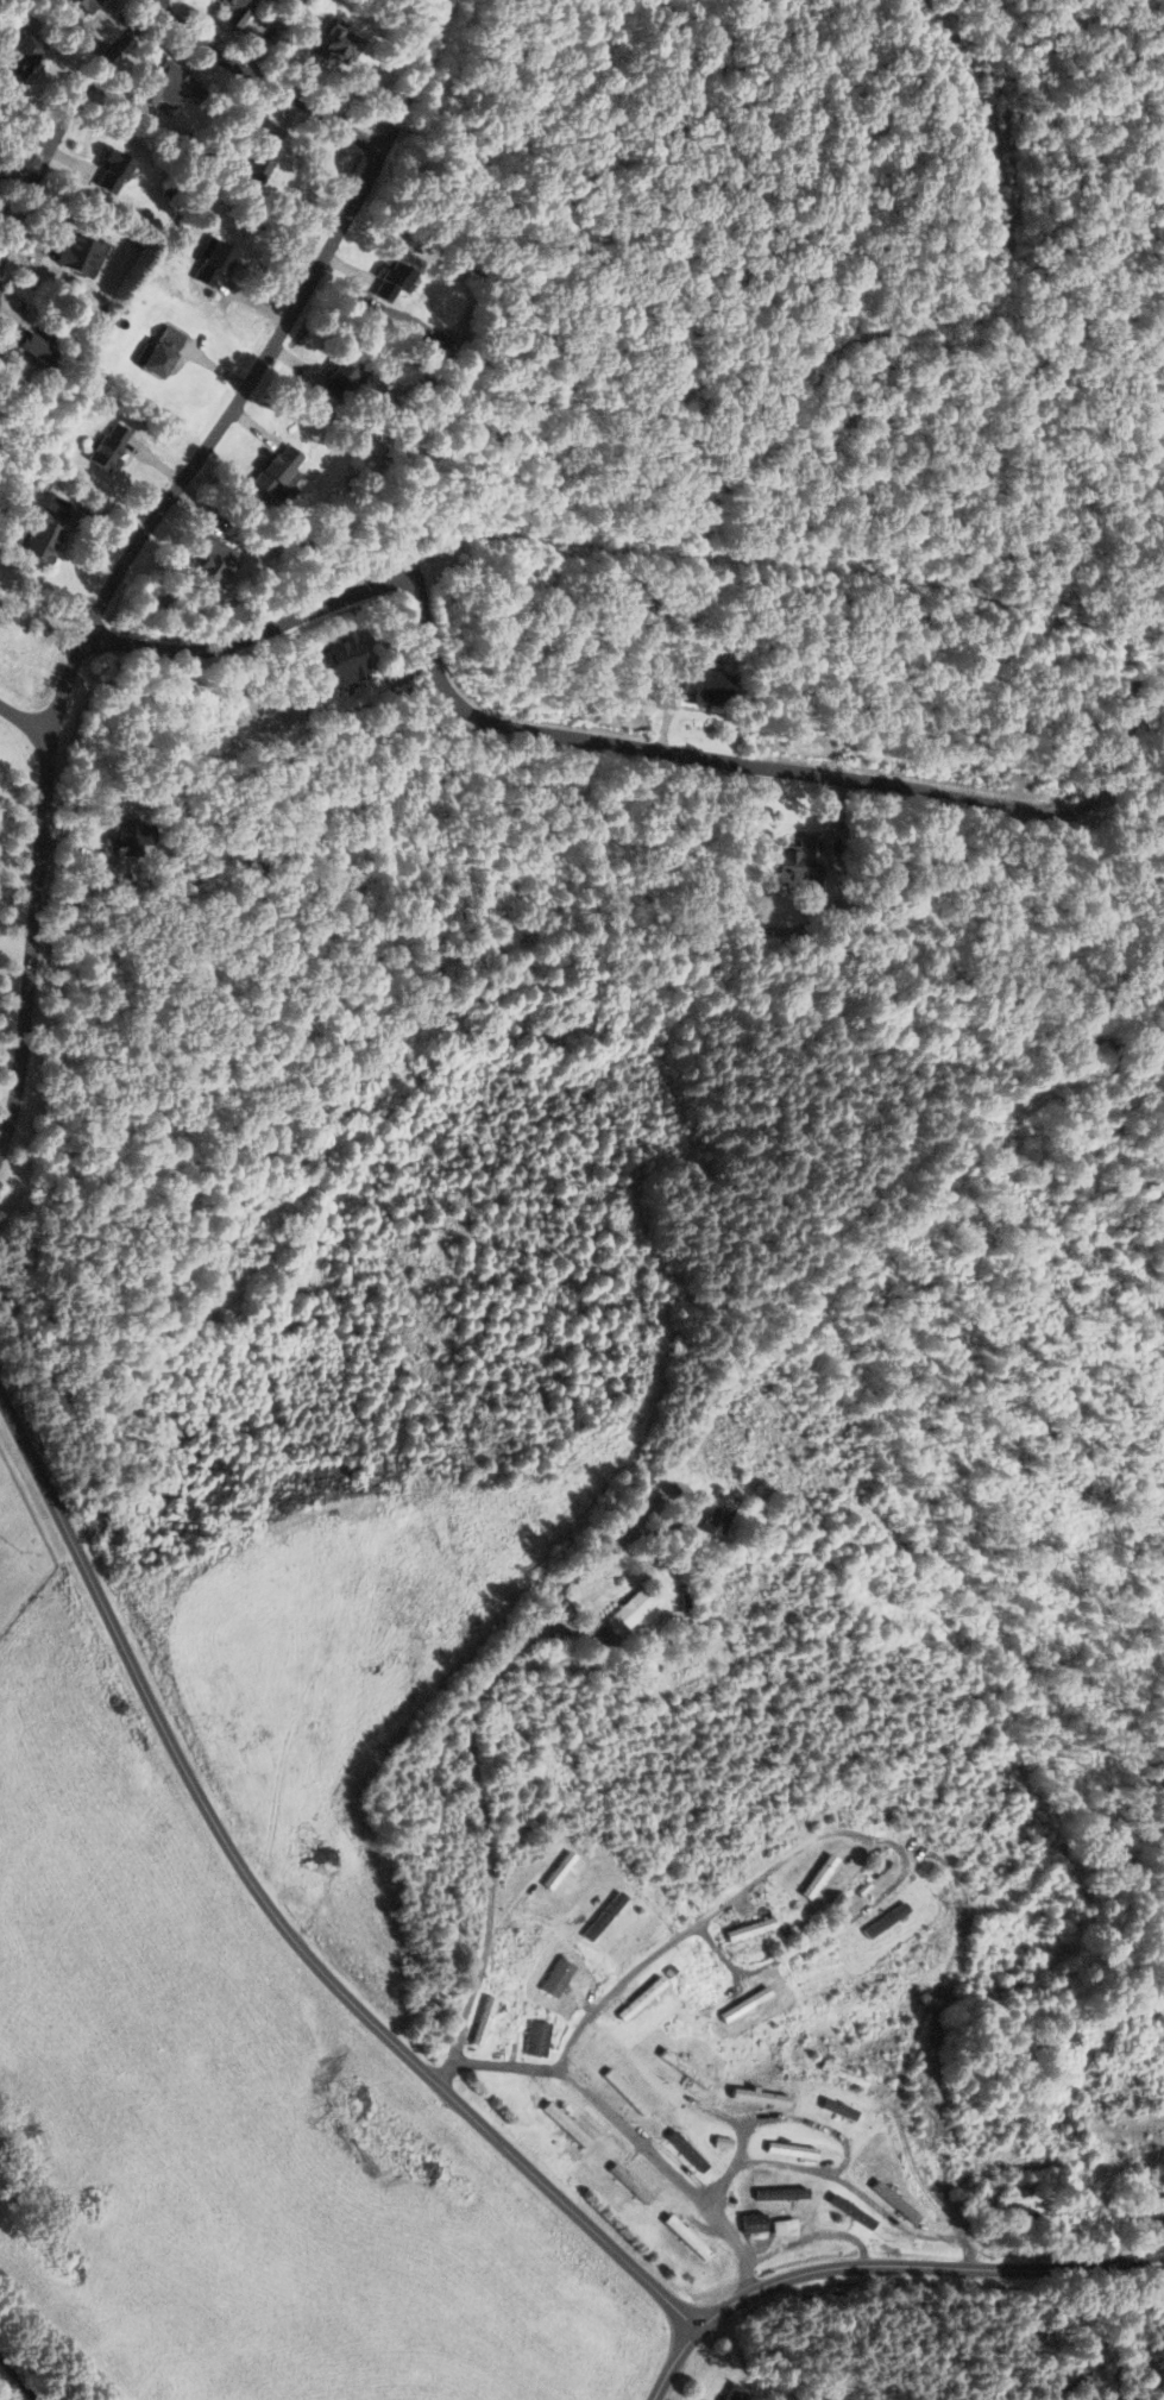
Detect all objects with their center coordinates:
building: (81, 5)
road: (149, 5)
building: (231, 13)
road: (82, 36)
building: (329, 42)
building: (15, 56)
road: (265, 82)
building: (162, 84)
road: (61, 121)
building: (105, 171)
building: (74, 255)
building: (208, 264)
building: (385, 282)
building: (29, 344)
building: (156, 351)
building: (335, 376)
building: (103, 447)
building: (275, 464)
building: (39, 535)
road: (121, 558)
building: (202, 563)
building: (335, 659)
building: (703, 686)
road: (23, 716)
road: (527, 728)
road: (1124, 759)
building: (791, 863)
building: (715, 1515)
building: (625, 1611)
road: (478, 1778)
road: (828, 1834)
building: (552, 1877)
building: (814, 1878)
building: (866, 1881)
building: (599, 1916)
building: (881, 1921)
road: (278, 1922)
building: (744, 1930)
building: (508, 1954)
building: (895, 1967)
building: (554, 1978)
building: (638, 1998)
building: (742, 2005)
building: (479, 2022)
building: (534, 2038)
building: (682, 2069)
building: (841, 2073)
building: (623, 2092)
building: (831, 2110)
road: (797, 2119)
building: (562, 2125)
road: (633, 2132)
building: (936, 2134)
building: (684, 2151)
building: (786, 2151)
building: (1042, 2167)
building: (623, 2181)
road: (849, 2182)
building: (778, 2194)
building: (891, 2203)
building: (1149, 2204)
building: (1021, 2205)
building: (848, 2212)
building: (749, 2224)
building: (780, 2228)
road: (813, 2233)
building: (682, 2238)
road: (925, 2267)
road: (674, 2362)
road: (21, 2373)
building: (731, 2393)

